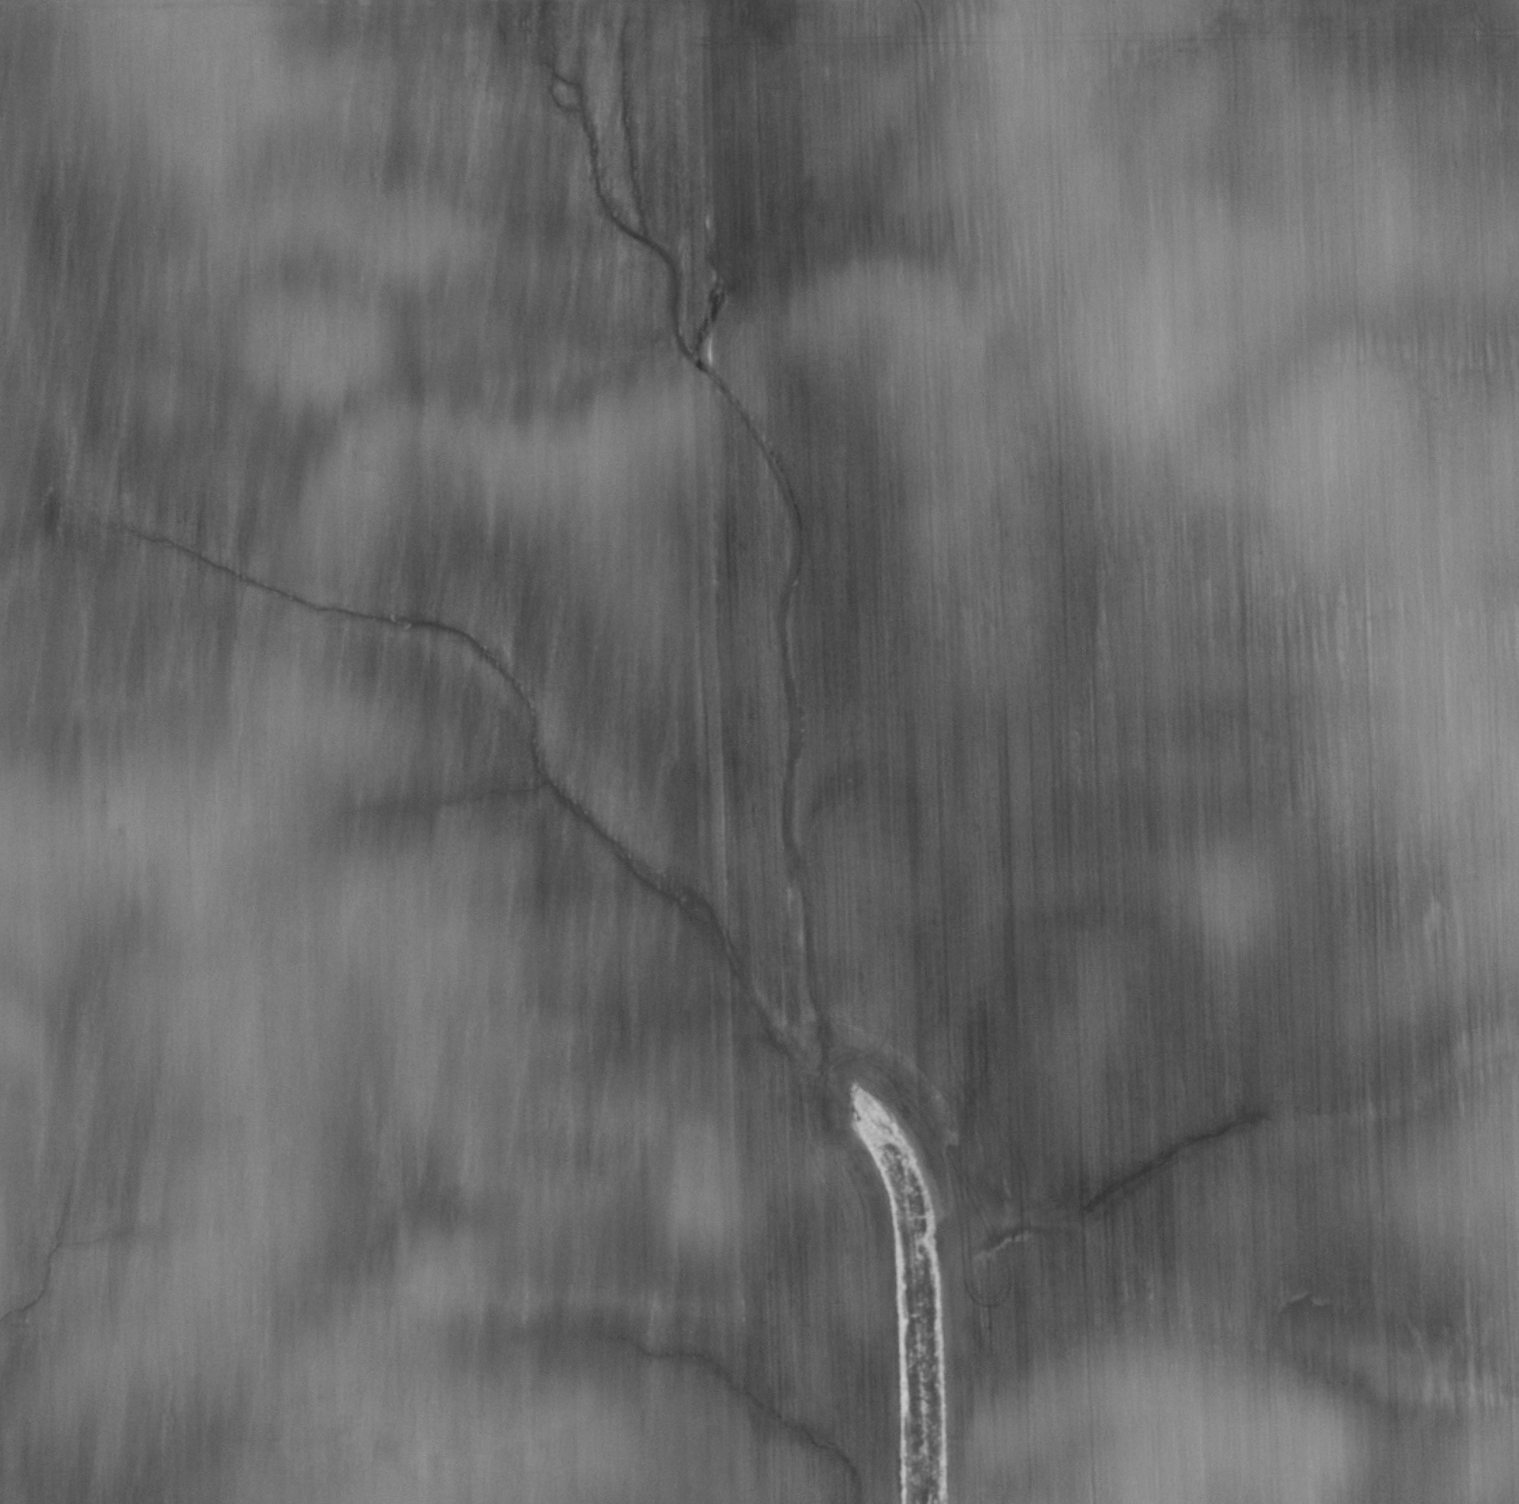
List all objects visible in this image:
crop: (758, 747)

